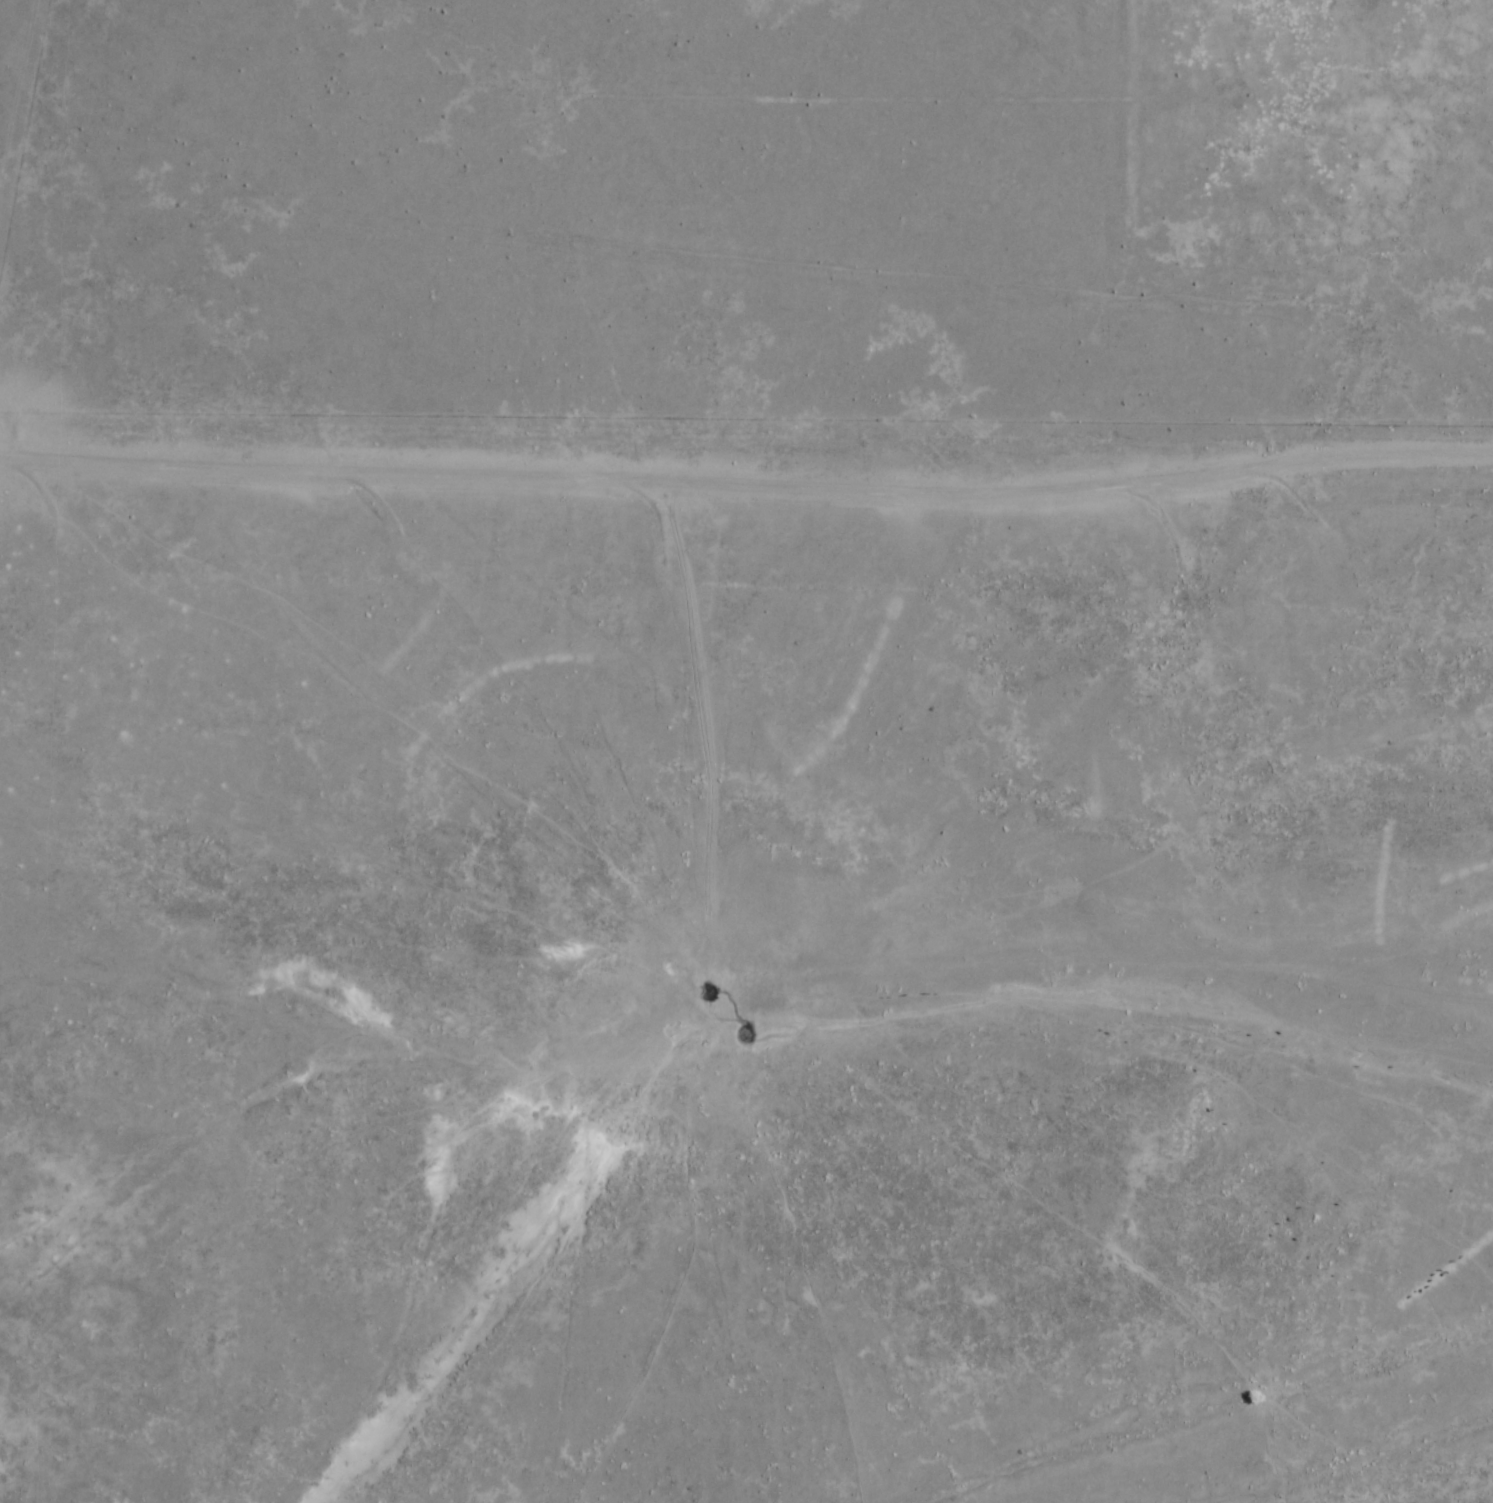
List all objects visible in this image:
road: (761, 420)
road: (962, 873)
road: (885, 993)
road: (1356, 1471)

